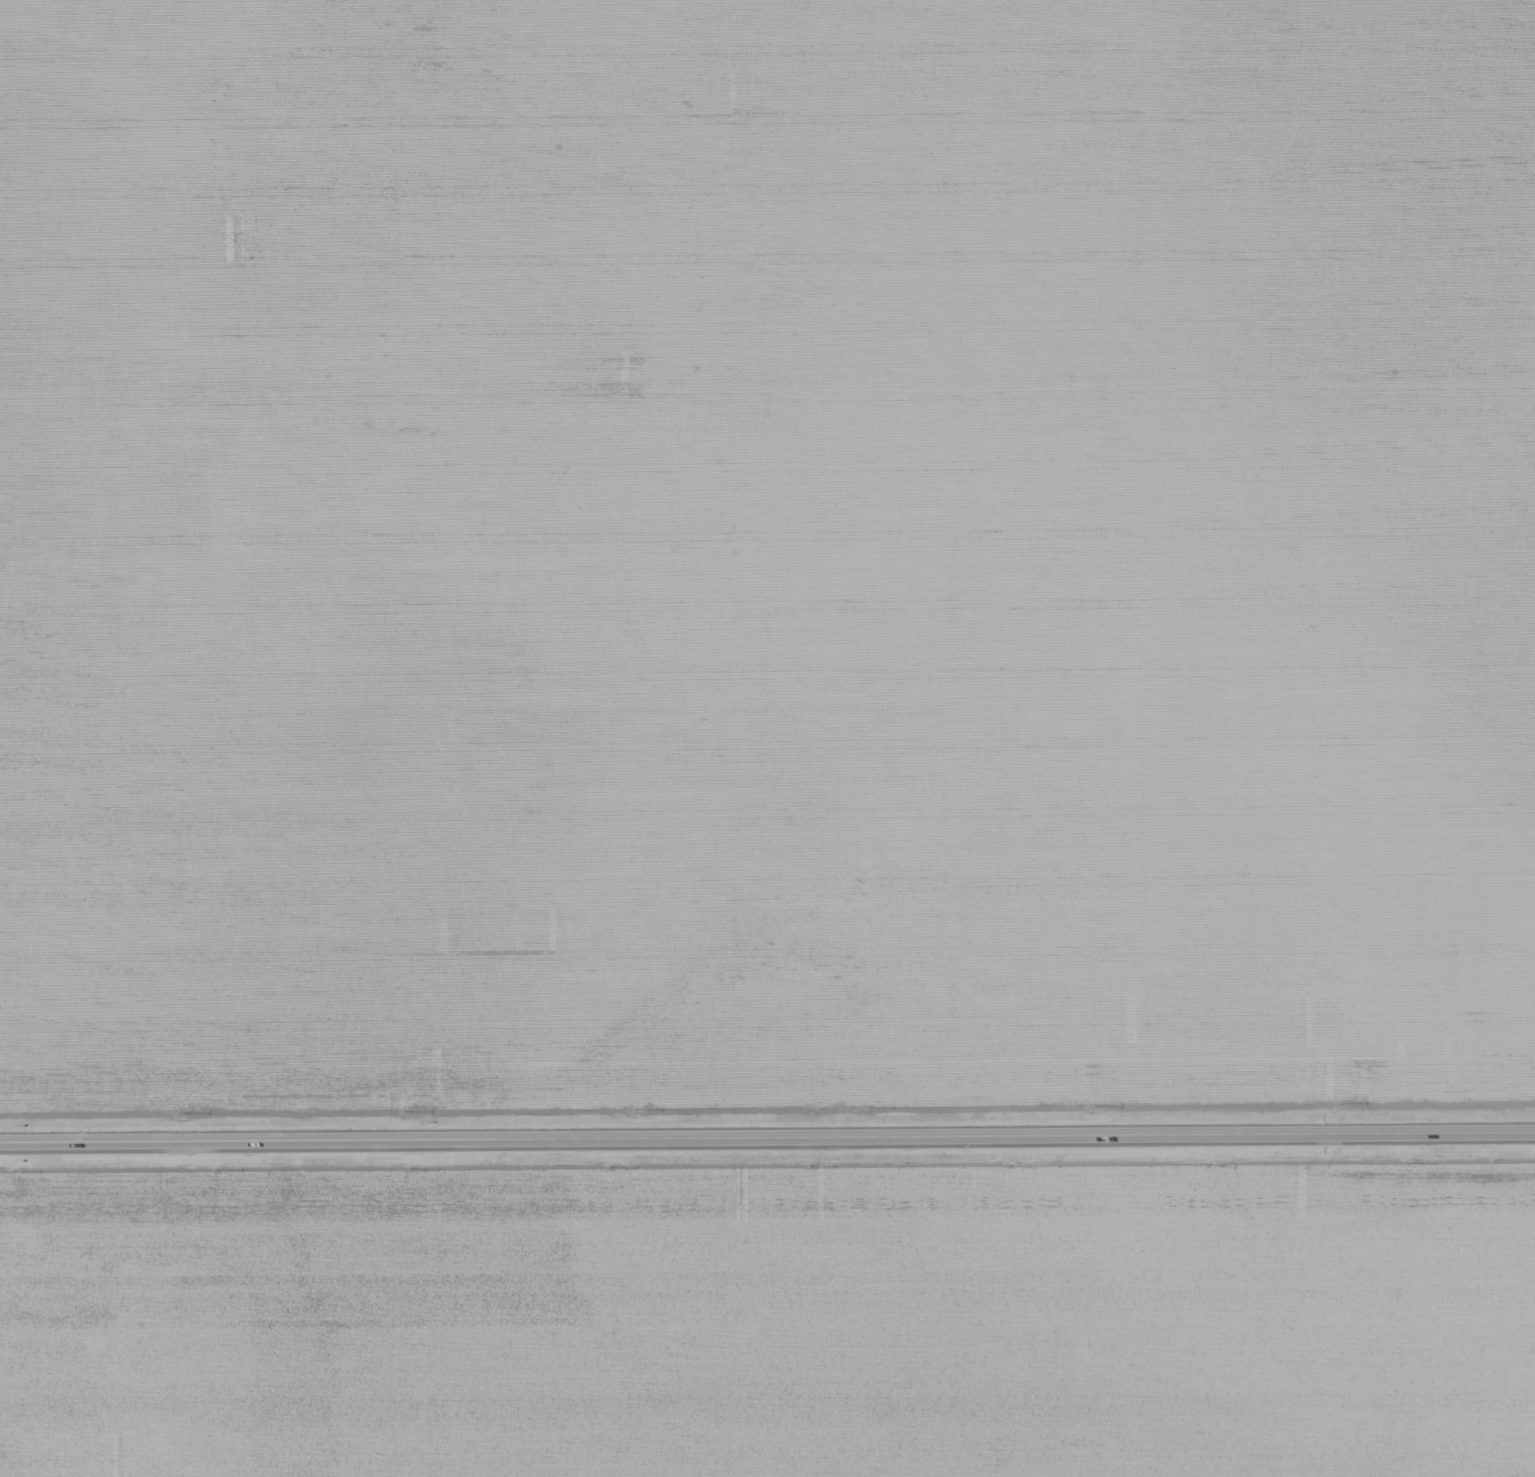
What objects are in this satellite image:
road: (767, 1137)

